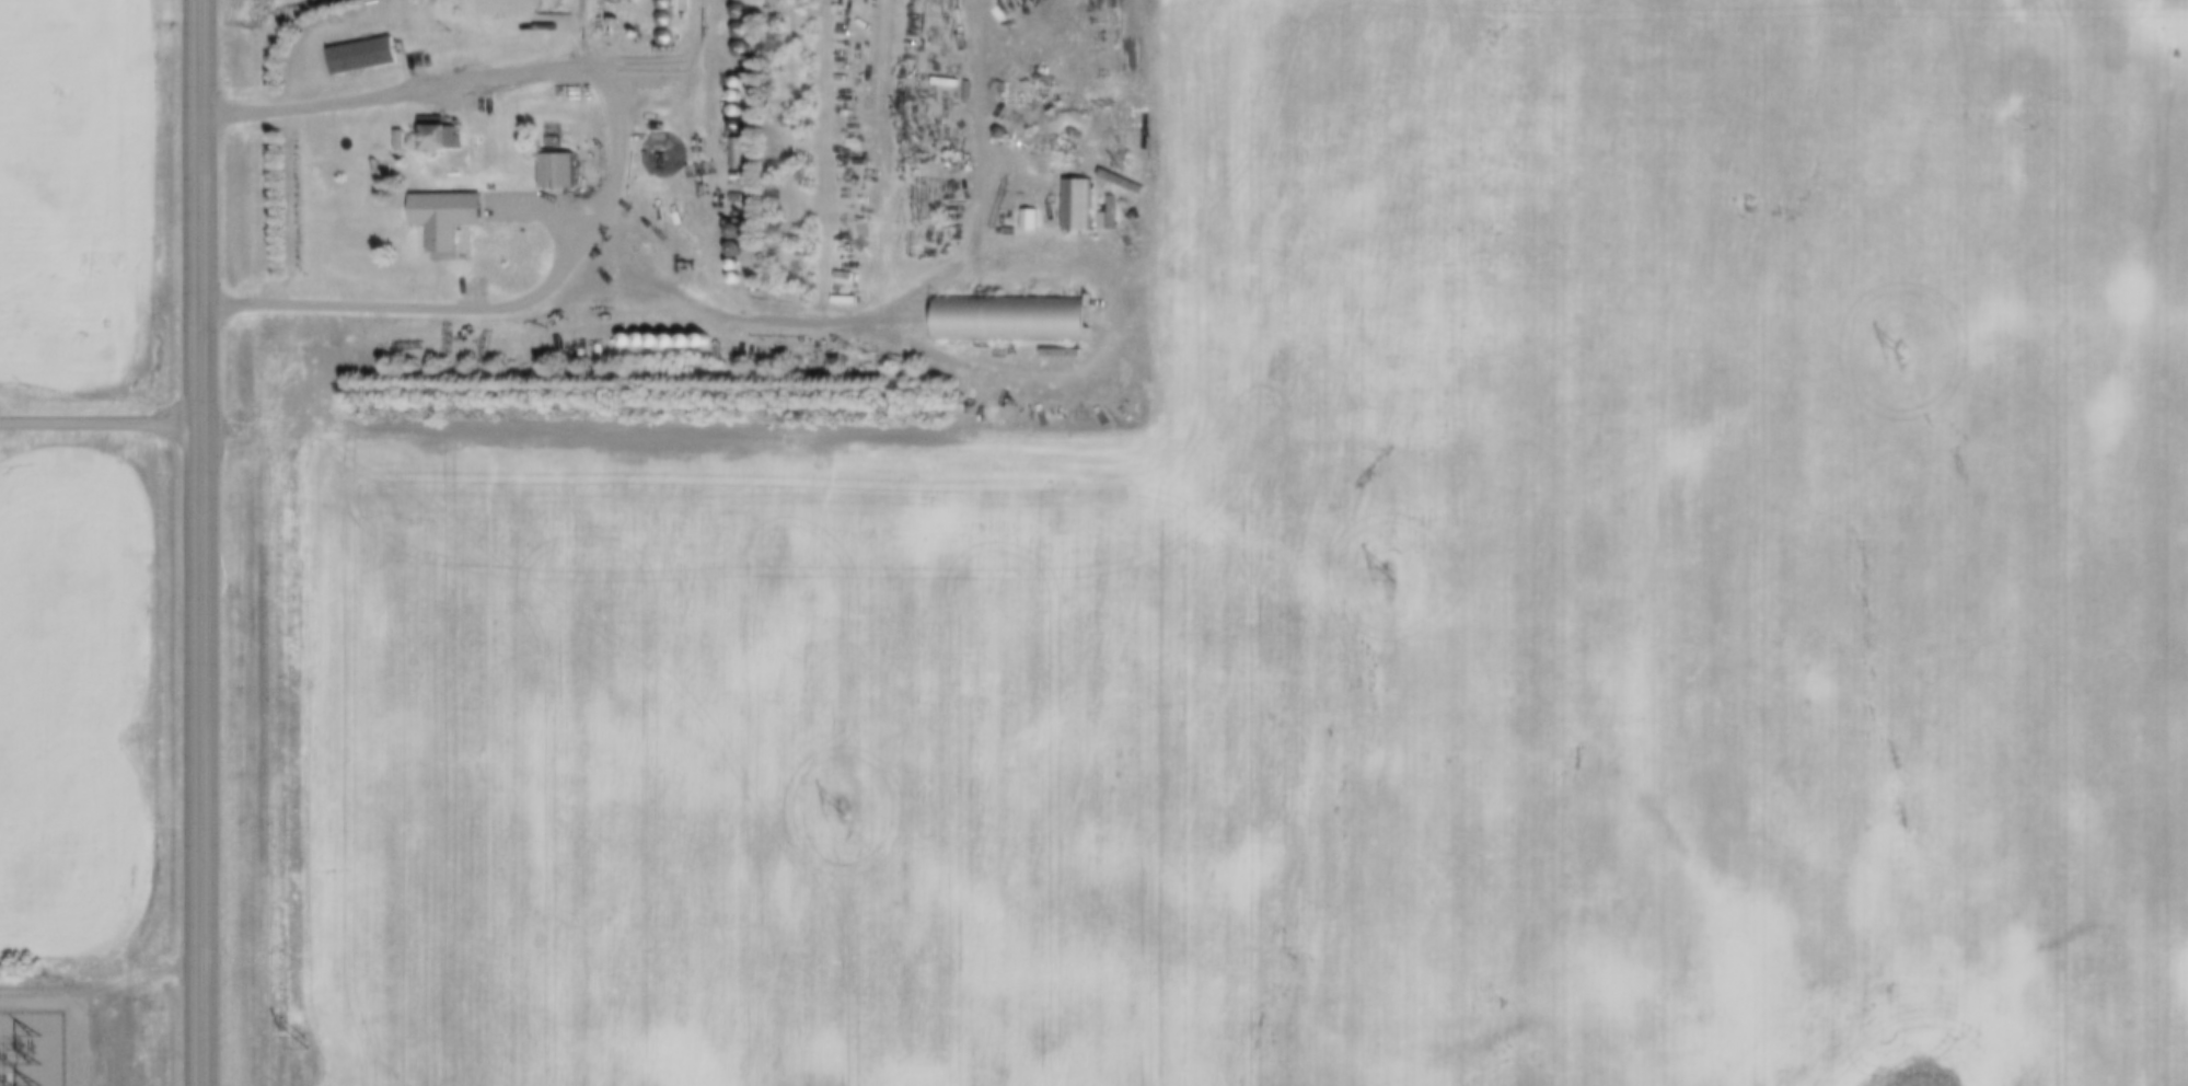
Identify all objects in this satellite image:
building: (739, 0)
building: (494, 7)
building: (740, 11)
building: (740, 41)
building: (361, 55)
building: (558, 130)
building: (435, 132)
building: (737, 153)
road: (614, 169)
building: (556, 170)
building: (1076, 205)
building: (444, 210)
building: (1014, 320)
power tower: (1900, 350)
road: (99, 421)
road: (199, 542)
power tower: (1388, 573)
power tower: (843, 809)
power tower: (304, 1040)
power substation: (31, 1049)

